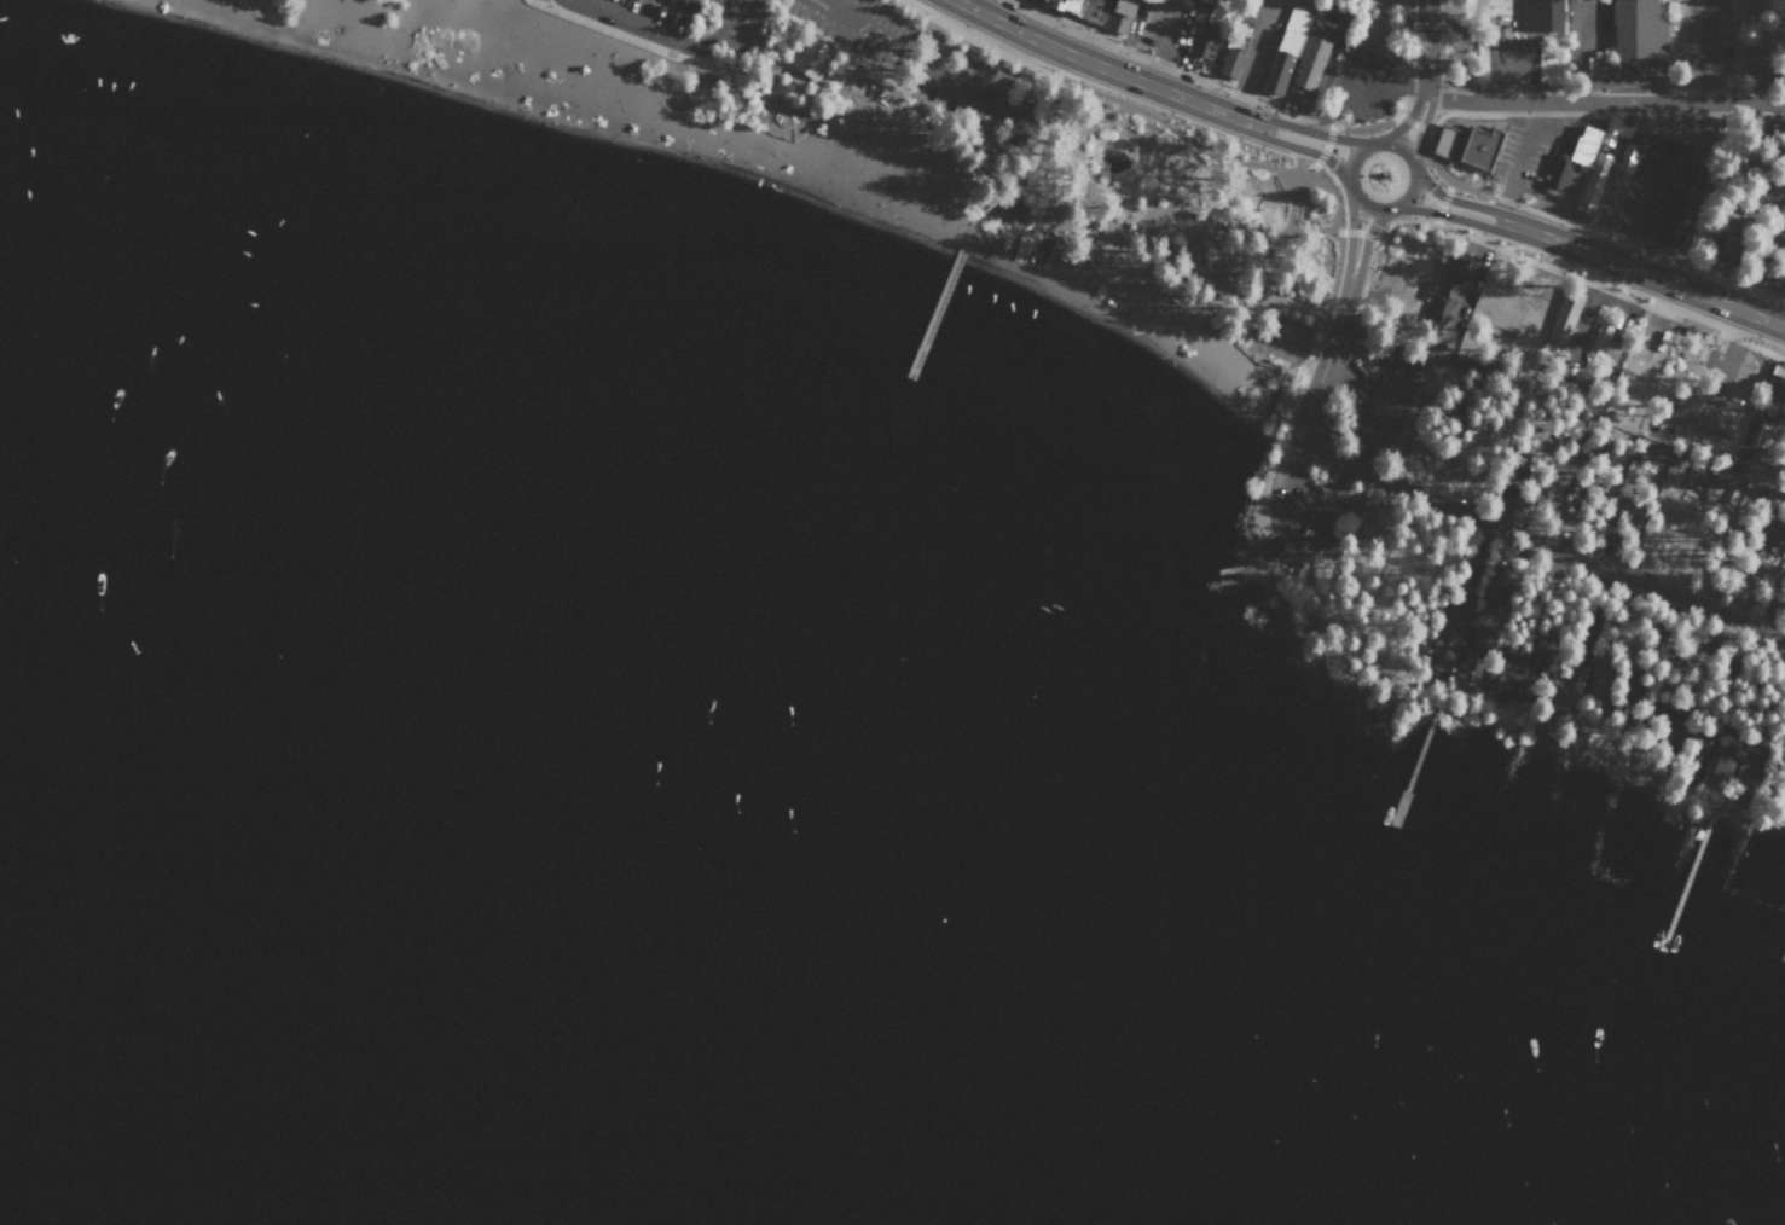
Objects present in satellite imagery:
building: (1065, 5)
building: (1093, 8)
building: (1218, 12)
building: (1119, 14)
building: (1541, 16)
parking lot: (642, 17)
building: (1241, 22)
building: (1639, 28)
building: (1372, 33)
road: (666, 35)
building: (1204, 41)
building: (1285, 47)
road: (1422, 47)
road: (851, 54)
building: (811, 56)
building: (1310, 56)
road: (1412, 57)
road: (1151, 58)
building: (1231, 62)
parking lot: (923, 64)
road: (918, 65)
road: (846, 68)
road: (1108, 68)
parking lot: (1360, 88)
road: (1096, 91)
road: (1357, 95)
road: (1603, 100)
road: (1575, 112)
road: (1413, 122)
road: (1402, 124)
road: (1344, 127)
road: (921, 128)
building: (1615, 129)
road: (1418, 130)
road: (1316, 133)
road: (986, 139)
building: (1467, 145)
road: (1306, 149)
road: (1397, 149)
road: (1321, 152)
road: (1354, 156)
building: (1570, 159)
building: (1627, 159)
road: (1520, 161)
road: (1439, 172)
building: (1593, 181)
road: (1327, 186)
building: (1676, 186)
road: (1406, 195)
road: (983, 197)
road: (1443, 199)
road: (1454, 199)
road: (1360, 201)
road: (1443, 213)
road: (1356, 231)
park: (973, 233)
road: (1632, 239)
road: (1348, 251)
road: (1360, 259)
road: (1642, 272)
road: (1578, 277)
building: (1447, 289)
road: (1360, 294)
pier: (939, 301)
building: (1564, 318)
building: (1604, 343)
road: (1310, 356)
road: (1311, 382)
building: (1777, 382)
building: (1758, 434)
building: (1646, 457)
building: (1751, 465)
building: (1519, 466)
building: (1696, 477)
building: (1711, 487)
road: (1279, 490)
building: (1624, 498)
building: (1618, 516)
building: (1372, 519)
building: (1778, 533)
road: (1538, 541)
pier: (1241, 565)
building: (1499, 582)
building: (1451, 625)
building: (1540, 648)
building: (1506, 675)
building: (1565, 681)
building: (1669, 726)
building: (1694, 756)
building: (1719, 765)
pier: (1412, 767)
building: (1746, 772)
building: (1783, 800)
pier: (1686, 878)
pier: (1784, 953)

